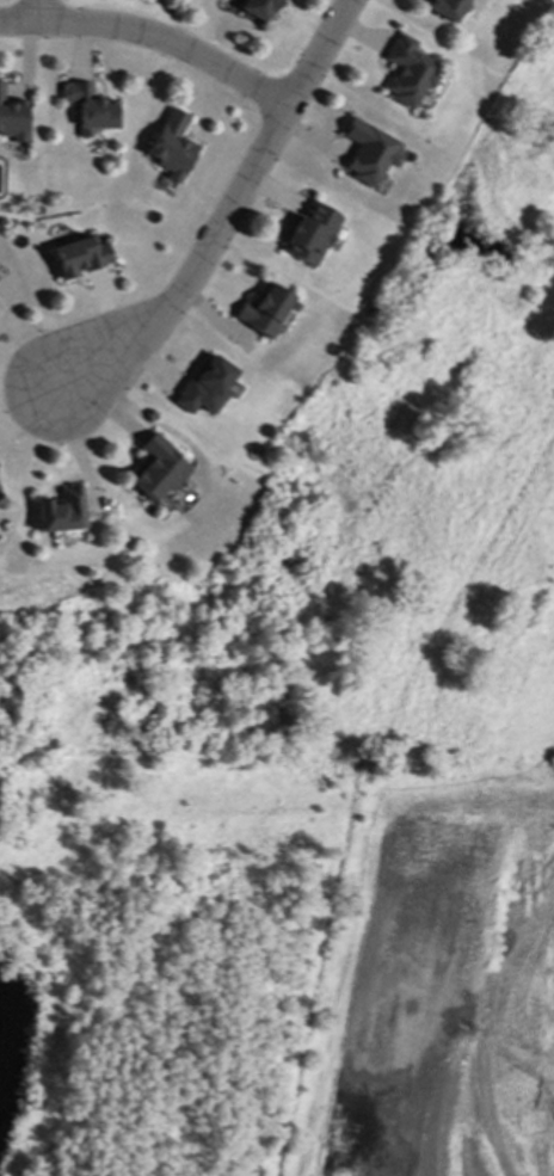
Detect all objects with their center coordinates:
building: (259, 8)
building: (444, 8)
road: (41, 12)
road: (154, 37)
building: (407, 72)
building: (91, 109)
building: (12, 118)
building: (172, 146)
building: (368, 152)
road: (230, 211)
building: (309, 234)
building: (80, 257)
park: (453, 266)
building: (264, 310)
building: (204, 388)
building: (156, 469)
building: (0, 501)
building: (60, 512)
park: (328, 542)

